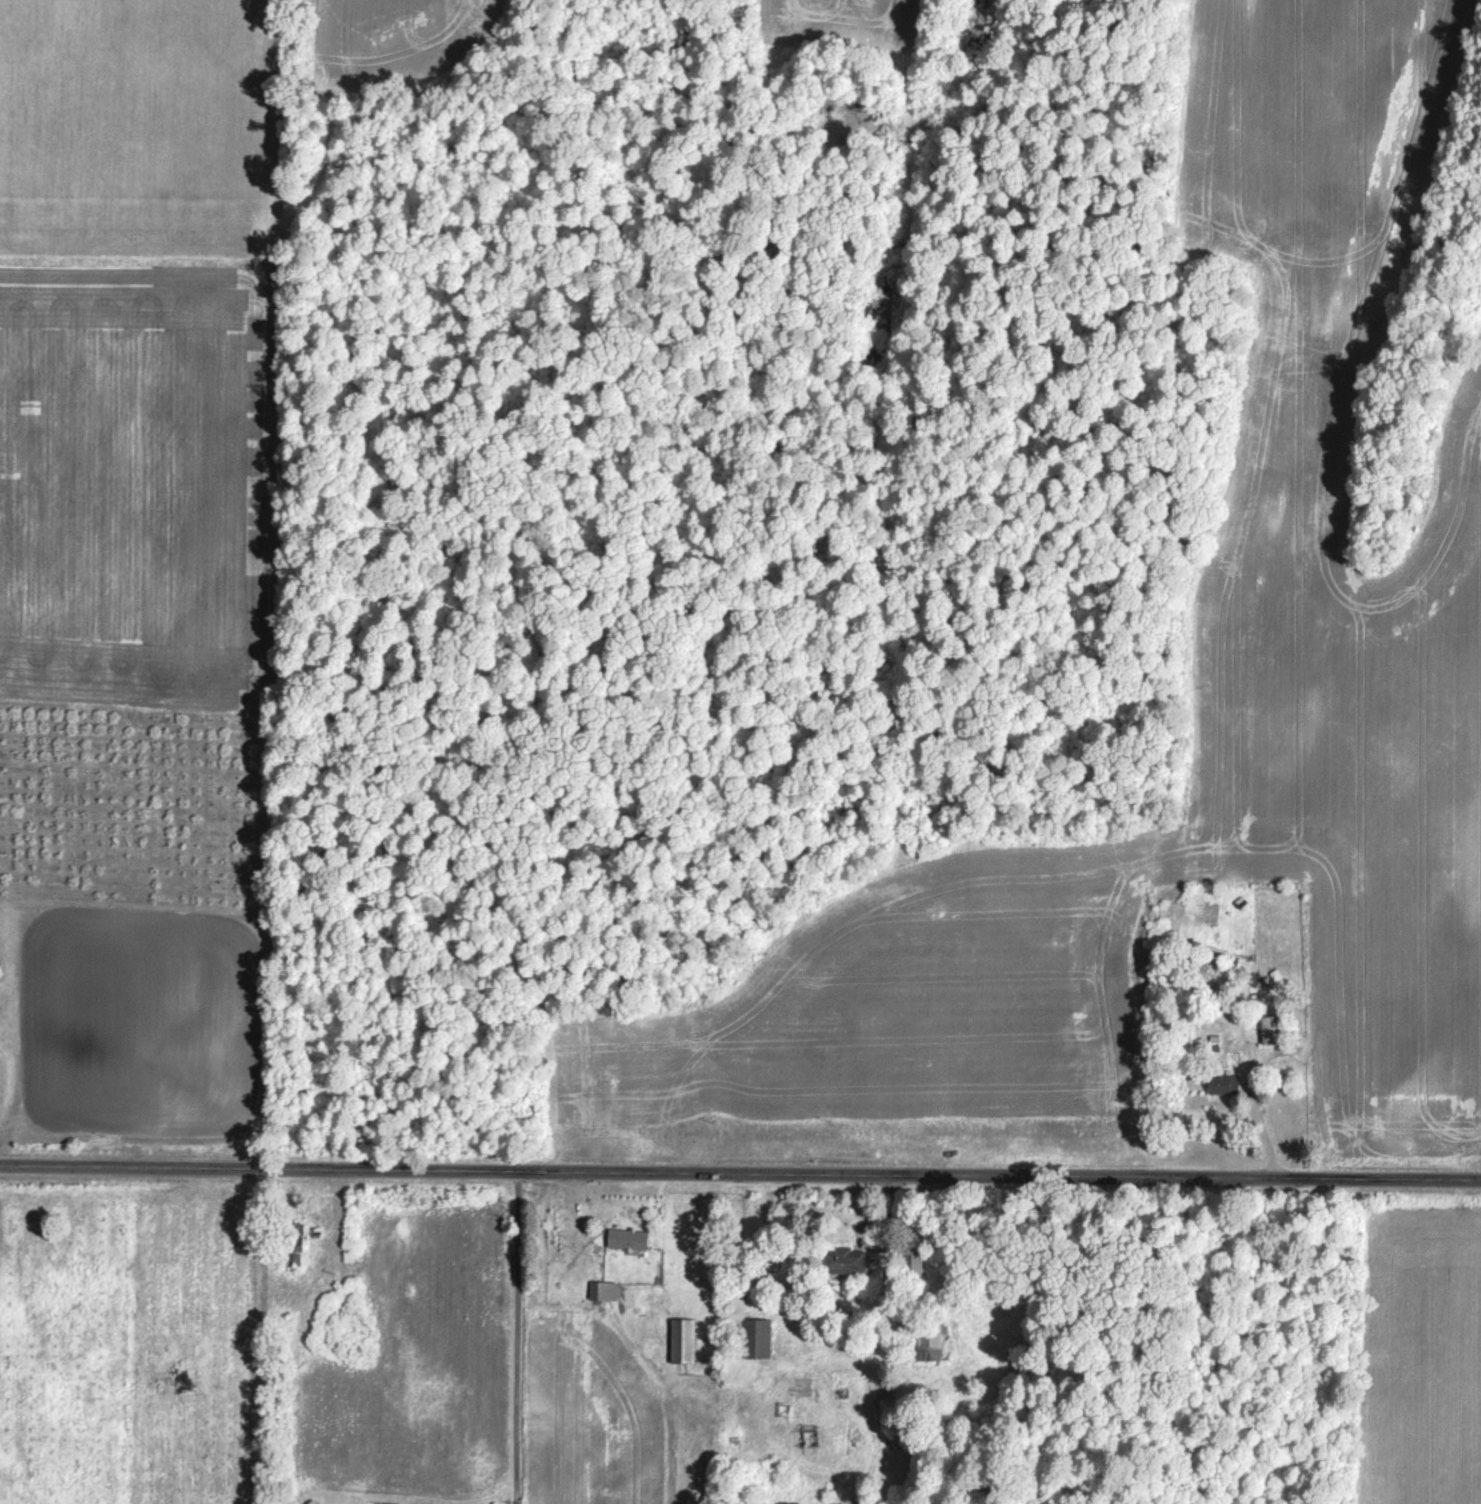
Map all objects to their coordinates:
building: (1271, 1028)
building: (1220, 1083)
road: (740, 1170)
building: (625, 1238)
building: (297, 1241)
building: (839, 1260)
building: (908, 1265)
building: (602, 1290)
building: (598, 1333)
road: (516, 1337)
building: (754, 1338)
building: (921, 1339)
building: (681, 1340)

